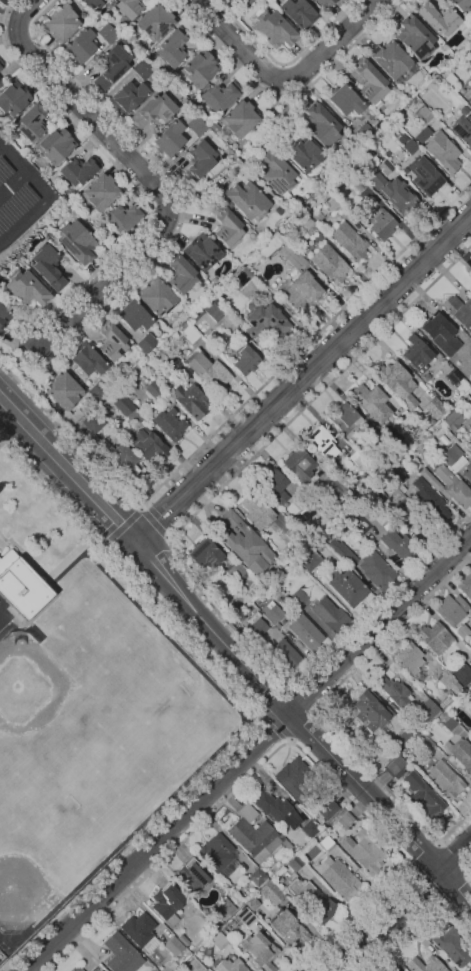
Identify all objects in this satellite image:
building: (247, 1)
building: (326, 3)
building: (461, 4)
building: (93, 5)
building: (129, 8)
building: (299, 13)
building: (437, 17)
building: (155, 21)
building: (61, 22)
building: (274, 29)
building: (108, 33)
building: (415, 37)
building: (80, 46)
building: (172, 47)
building: (390, 59)
building: (1, 63)
road: (284, 63)
building: (0, 67)
building: (111, 67)
building: (199, 68)
building: (142, 69)
building: (403, 75)
building: (447, 76)
road: (286, 80)
building: (370, 81)
building: (0, 82)
road: (285, 93)
building: (219, 95)
building: (127, 97)
building: (13, 99)
building: (345, 100)
building: (469, 100)
building: (153, 110)
building: (424, 115)
building: (240, 118)
building: (32, 122)
building: (321, 124)
building: (196, 125)
building: (463, 127)
building: (223, 133)
building: (364, 134)
building: (169, 138)
building: (56, 145)
building: (411, 146)
road: (2, 151)
building: (443, 151)
building: (303, 154)
building: (333, 155)
road: (13, 159)
building: (199, 160)
building: (390, 162)
building: (79, 170)
building: (4, 173)
building: (275, 173)
road: (146, 176)
building: (426, 179)
building: (357, 184)
road: (13, 185)
building: (101, 192)
building: (398, 197)
parking lot: (20, 198)
building: (247, 200)
building: (330, 201)
building: (66, 206)
building: (16, 207)
road: (37, 210)
building: (123, 217)
building: (318, 217)
building: (380, 224)
building: (308, 225)
building: (226, 226)
building: (349, 241)
building: (77, 242)
building: (270, 245)
building: (202, 251)
building: (14, 259)
building: (330, 264)
building: (48, 267)
building: (180, 273)
building: (0, 278)
building: (241, 278)
building: (298, 278)
building: (215, 280)
building: (26, 289)
building: (157, 297)
building: (459, 311)
building: (133, 315)
building: (3, 316)
building: (191, 318)
building: (263, 319)
building: (440, 334)
building: (111, 340)
building: (146, 343)
building: (417, 354)
building: (133, 355)
building: (470, 356)
building: (87, 359)
building: (245, 359)
road: (33, 365)
building: (174, 365)
road: (18, 369)
building: (210, 373)
road: (303, 376)
building: (453, 376)
building: (397, 382)
building: (154, 389)
building: (98, 390)
building: (63, 391)
building: (127, 393)
building: (191, 400)
building: (371, 402)
building: (124, 405)
building: (433, 407)
building: (105, 409)
road: (232, 414)
building: (341, 415)
building: (405, 418)
building: (453, 420)
building: (170, 423)
road: (2, 441)
building: (321, 442)
building: (148, 443)
building: (469, 446)
building: (109, 450)
building: (451, 455)
building: (354, 459)
building: (299, 464)
building: (468, 471)
building: (397, 478)
building: (430, 479)
building: (274, 486)
building: (454, 486)
building: (335, 488)
building: (395, 491)
building: (358, 492)
building: (378, 495)
building: (429, 498)
building: (307, 501)
building: (368, 503)
road: (139, 508)
building: (404, 509)
building: (257, 510)
road: (152, 521)
building: (398, 522)
road: (122, 527)
building: (291, 532)
road: (167, 536)
building: (243, 541)
building: (399, 544)
road: (176, 549)
road: (147, 553)
building: (206, 553)
building: (344, 554)
building: (309, 560)
building: (327, 562)
building: (297, 570)
building: (377, 570)
building: (236, 571)
building: (283, 576)
road: (49, 578)
building: (466, 585)
building: (21, 586)
building: (346, 587)
building: (300, 599)
building: (251, 606)
building: (451, 609)
building: (330, 615)
building: (265, 619)
building: (462, 631)
building: (304, 632)
building: (435, 637)
building: (285, 653)
building: (411, 660)
building: (461, 672)
building: (286, 675)
building: (448, 682)
building: (394, 691)
building: (468, 698)
road: (256, 705)
building: (427, 709)
road: (262, 712)
road: (314, 713)
building: (370, 715)
road: (276, 724)
building: (450, 724)
building: (408, 736)
road: (289, 739)
park: (41, 741)
road: (286, 743)
building: (427, 746)
park: (116, 751)
road: (248, 752)
building: (460, 753)
building: (396, 763)
building: (294, 779)
building: (444, 779)
building: (423, 795)
park: (3, 807)
building: (275, 808)
building: (327, 808)
road: (381, 808)
building: (345, 818)
building: (310, 828)
building: (255, 835)
park: (43, 842)
building: (326, 844)
building: (364, 852)
building: (218, 854)
road: (424, 855)
road: (453, 859)
building: (294, 863)
road: (468, 876)
building: (257, 877)
building: (337, 877)
building: (191, 878)
road: (426, 886)
building: (271, 893)
road: (459, 896)
building: (312, 899)
building: (167, 904)
building: (253, 904)
building: (227, 906)
road: (405, 907)
building: (246, 916)
road: (422, 921)
building: (212, 929)
building: (289, 929)
building: (140, 932)
building: (183, 939)
building: (219, 941)
building: (173, 946)
building: (452, 947)
building: (260, 951)
building: (122, 954)
building: (173, 965)
building: (230, 965)
building: (425, 965)
building: (193, 966)
building: (78, 969)
building: (469, 969)
building: (99, 970)

